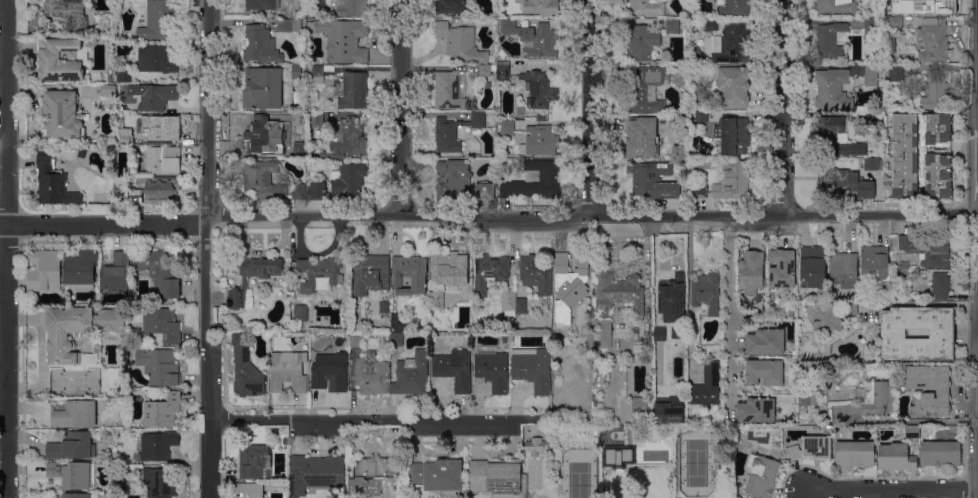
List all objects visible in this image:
building: (262, 4)
building: (924, 6)
building: (352, 7)
building: (452, 7)
building: (541, 7)
building: (646, 7)
building: (735, 7)
building: (836, 7)
building: (68, 11)
building: (161, 19)
building: (894, 22)
building: (711, 24)
building: (290, 25)
building: (673, 25)
building: (871, 26)
building: (533, 37)
building: (345, 39)
building: (830, 39)
building: (933, 40)
building: (643, 42)
building: (890, 42)
building: (460, 43)
building: (260, 44)
building: (732, 44)
building: (504, 53)
building: (156, 58)
building: (62, 59)
building: (486, 69)
building: (504, 70)
building: (296, 71)
building: (320, 72)
building: (896, 73)
building: (123, 74)
building: (871, 75)
building: (734, 85)
building: (263, 87)
building: (535, 88)
building: (646, 88)
building: (450, 89)
building: (833, 89)
building: (108, 90)
building: (354, 90)
building: (935, 91)
building: (157, 96)
building: (683, 98)
road: (400, 107)
road: (591, 107)
road: (782, 107)
building: (61, 114)
building: (541, 115)
building: (701, 116)
building: (871, 116)
building: (524, 117)
building: (299, 118)
building: (307, 118)
building: (317, 119)
building: (676, 121)
building: (162, 127)
building: (507, 128)
building: (455, 131)
building: (260, 133)
building: (732, 134)
building: (127, 135)
building: (642, 137)
building: (834, 137)
building: (347, 140)
building: (541, 140)
building: (82, 153)
building: (939, 156)
building: (164, 159)
building: (879, 160)
building: (867, 162)
building: (548, 176)
building: (455, 177)
building: (263, 179)
building: (652, 179)
building: (732, 179)
building: (349, 180)
building: (848, 182)
building: (54, 183)
building: (160, 188)
building: (319, 190)
building: (485, 190)
building: (298, 191)
building: (699, 191)
building: (135, 196)
road: (488, 217)
road: (6, 248)
road: (204, 249)
building: (928, 250)
building: (875, 261)
building: (901, 265)
building: (813, 267)
building: (782, 268)
building: (81, 269)
building: (449, 269)
building: (751, 269)
building: (844, 269)
building: (44, 270)
building: (490, 271)
building: (116, 272)
building: (157, 272)
building: (536, 272)
building: (320, 273)
building: (370, 273)
building: (410, 273)
building: (245, 283)
building: (569, 283)
building: (941, 284)
building: (706, 291)
building: (620, 293)
building: (864, 295)
building: (128, 300)
building: (437, 300)
building: (510, 300)
building: (672, 302)
road: (918, 303)
building: (522, 305)
building: (384, 306)
building: (852, 308)
building: (301, 312)
road: (729, 313)
building: (825, 316)
building: (395, 319)
building: (162, 323)
building: (849, 324)
building: (77, 331)
building: (602, 333)
building: (918, 333)
building: (659, 334)
building: (356, 339)
building: (396, 339)
building: (765, 341)
building: (159, 365)
building: (246, 367)
building: (811, 367)
building: (455, 368)
building: (533, 368)
building: (290, 369)
building: (333, 369)
building: (493, 370)
building: (764, 371)
building: (412, 374)
building: (371, 376)
building: (707, 385)
building: (943, 390)
building: (808, 392)
building: (873, 398)
building: (639, 405)
building: (668, 409)
building: (163, 410)
building: (755, 410)
building: (74, 414)
road: (372, 418)
road: (3, 426)
building: (912, 431)
building: (595, 440)
building: (158, 445)
building: (536, 445)
building: (72, 446)
building: (811, 448)
building: (855, 453)
building: (941, 453)
building: (619, 456)
building: (896, 457)
building: (253, 461)
building: (375, 467)
building: (316, 472)
building: (533, 472)
building: (70, 474)
building: (439, 475)
building: (762, 475)
building: (499, 477)
building: (160, 482)
building: (364, 486)
road: (892, 489)
building: (250, 490)
building: (76, 495)

